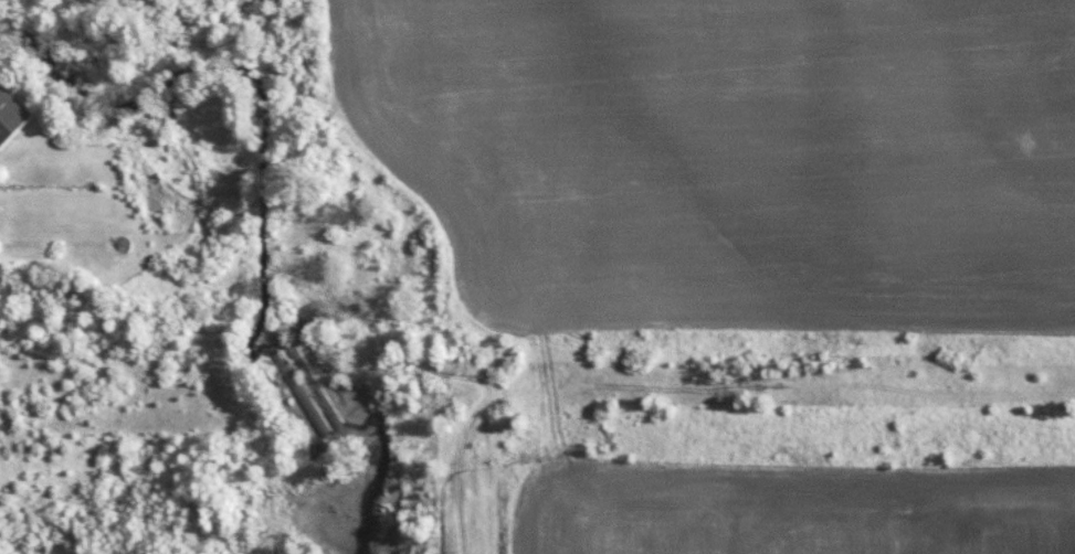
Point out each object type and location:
building: (11, 113)

